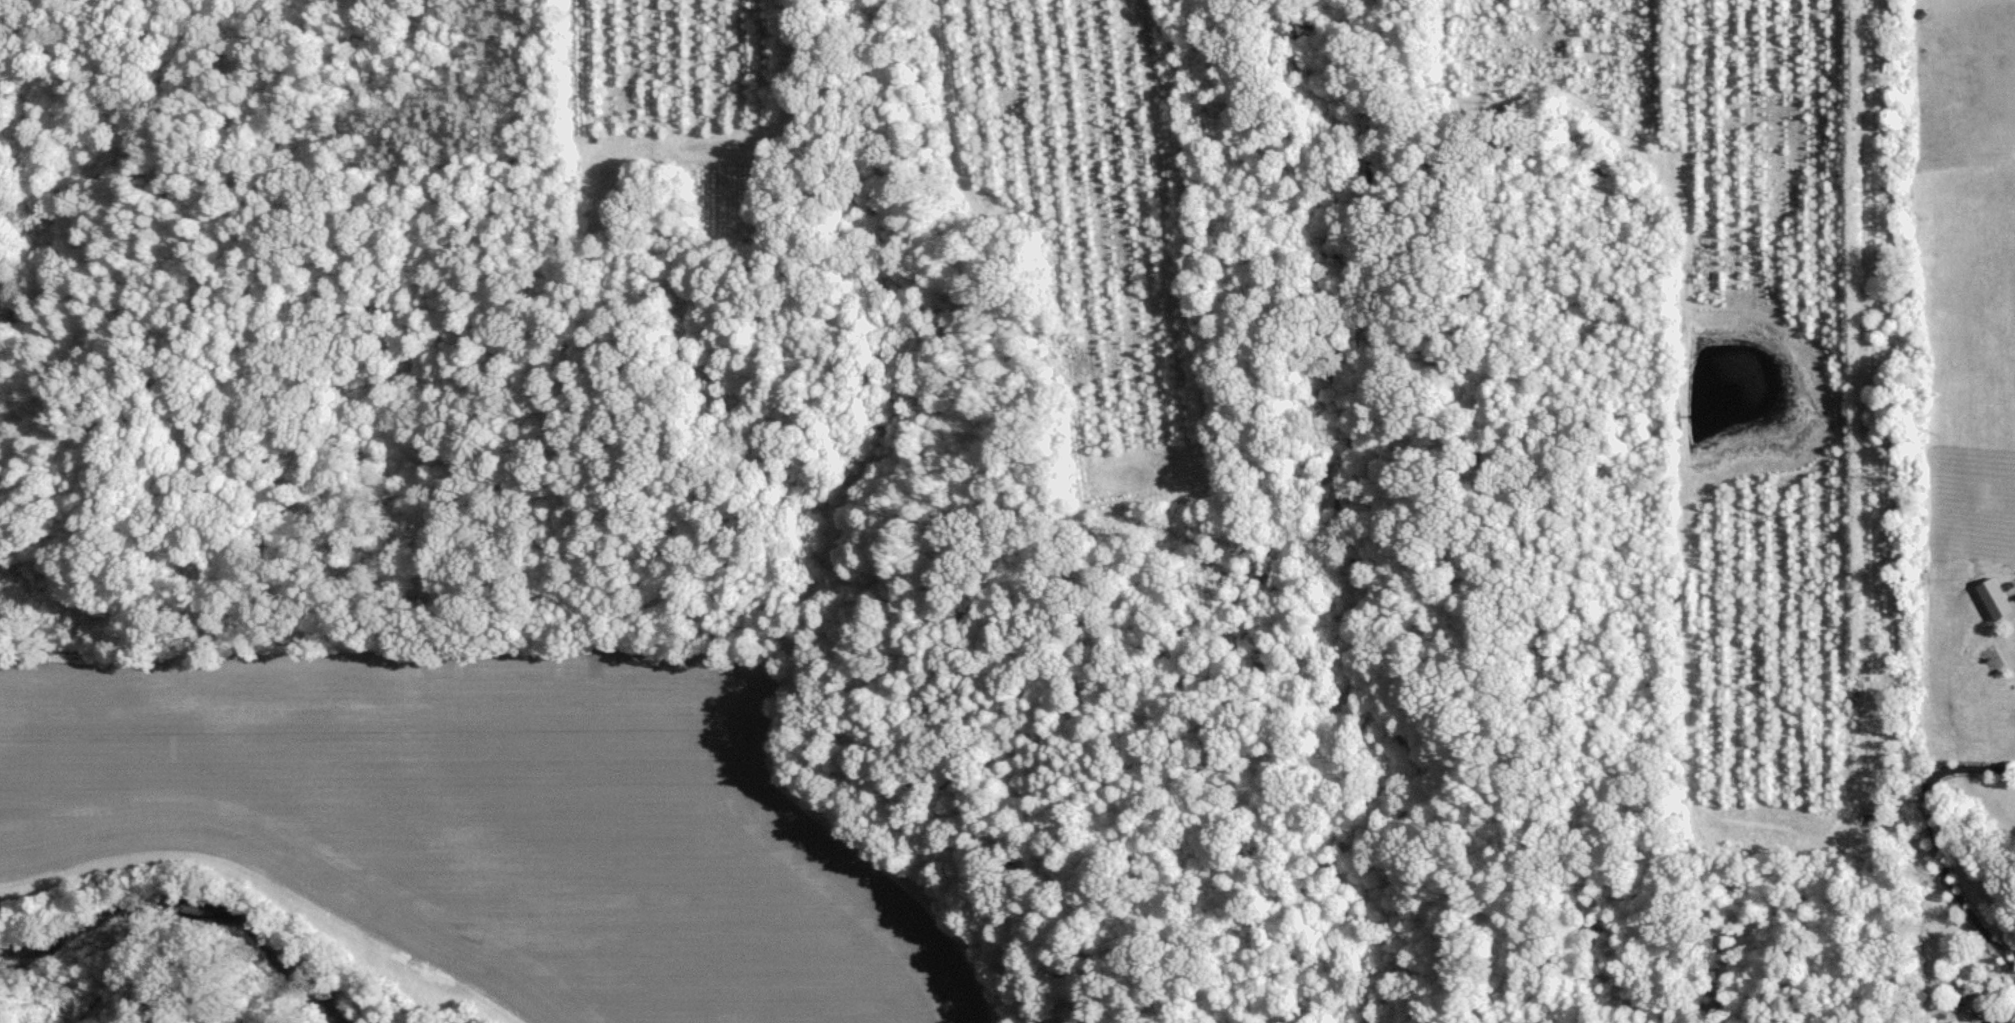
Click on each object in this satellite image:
road: (1934, 833)

